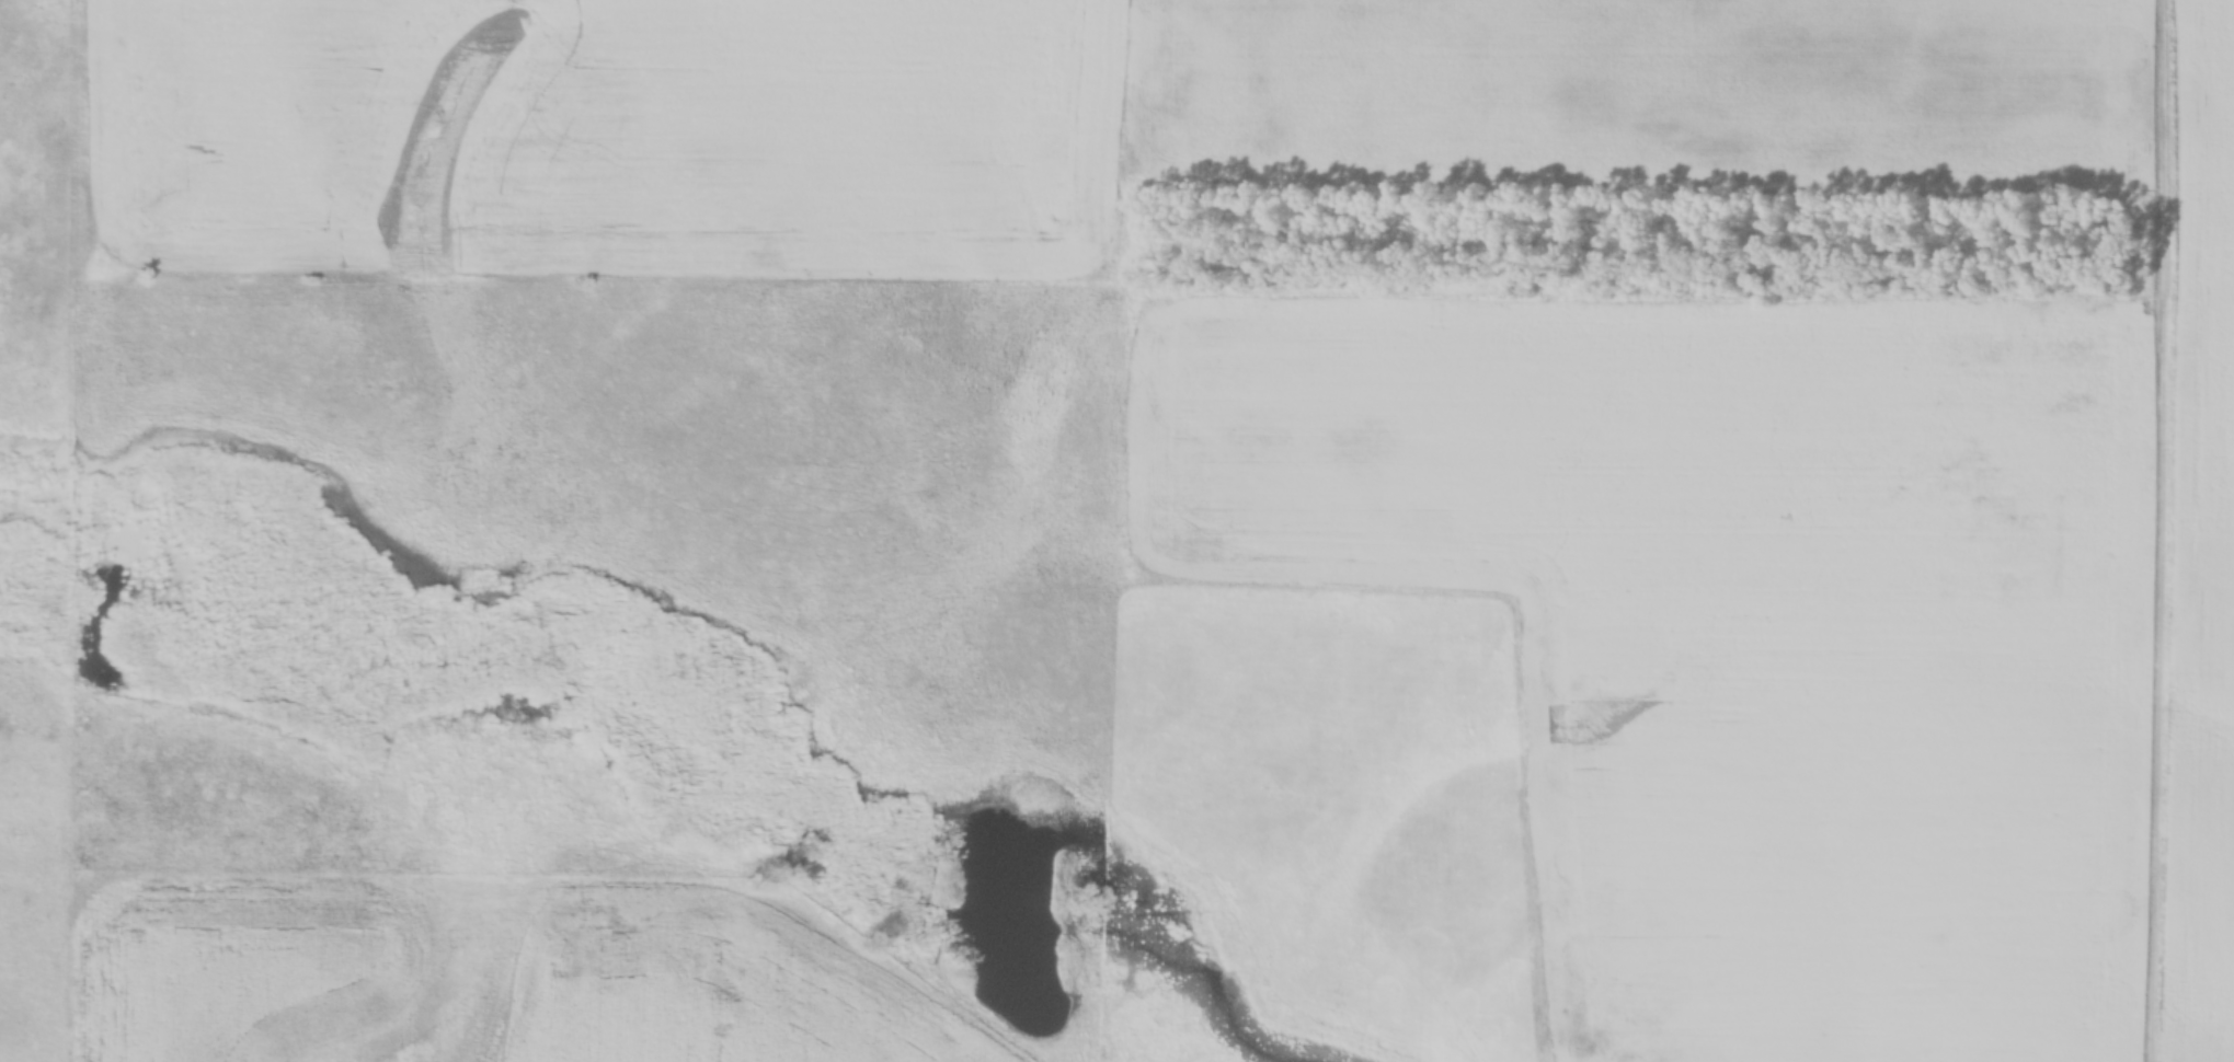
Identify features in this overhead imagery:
road: (2164, 531)

